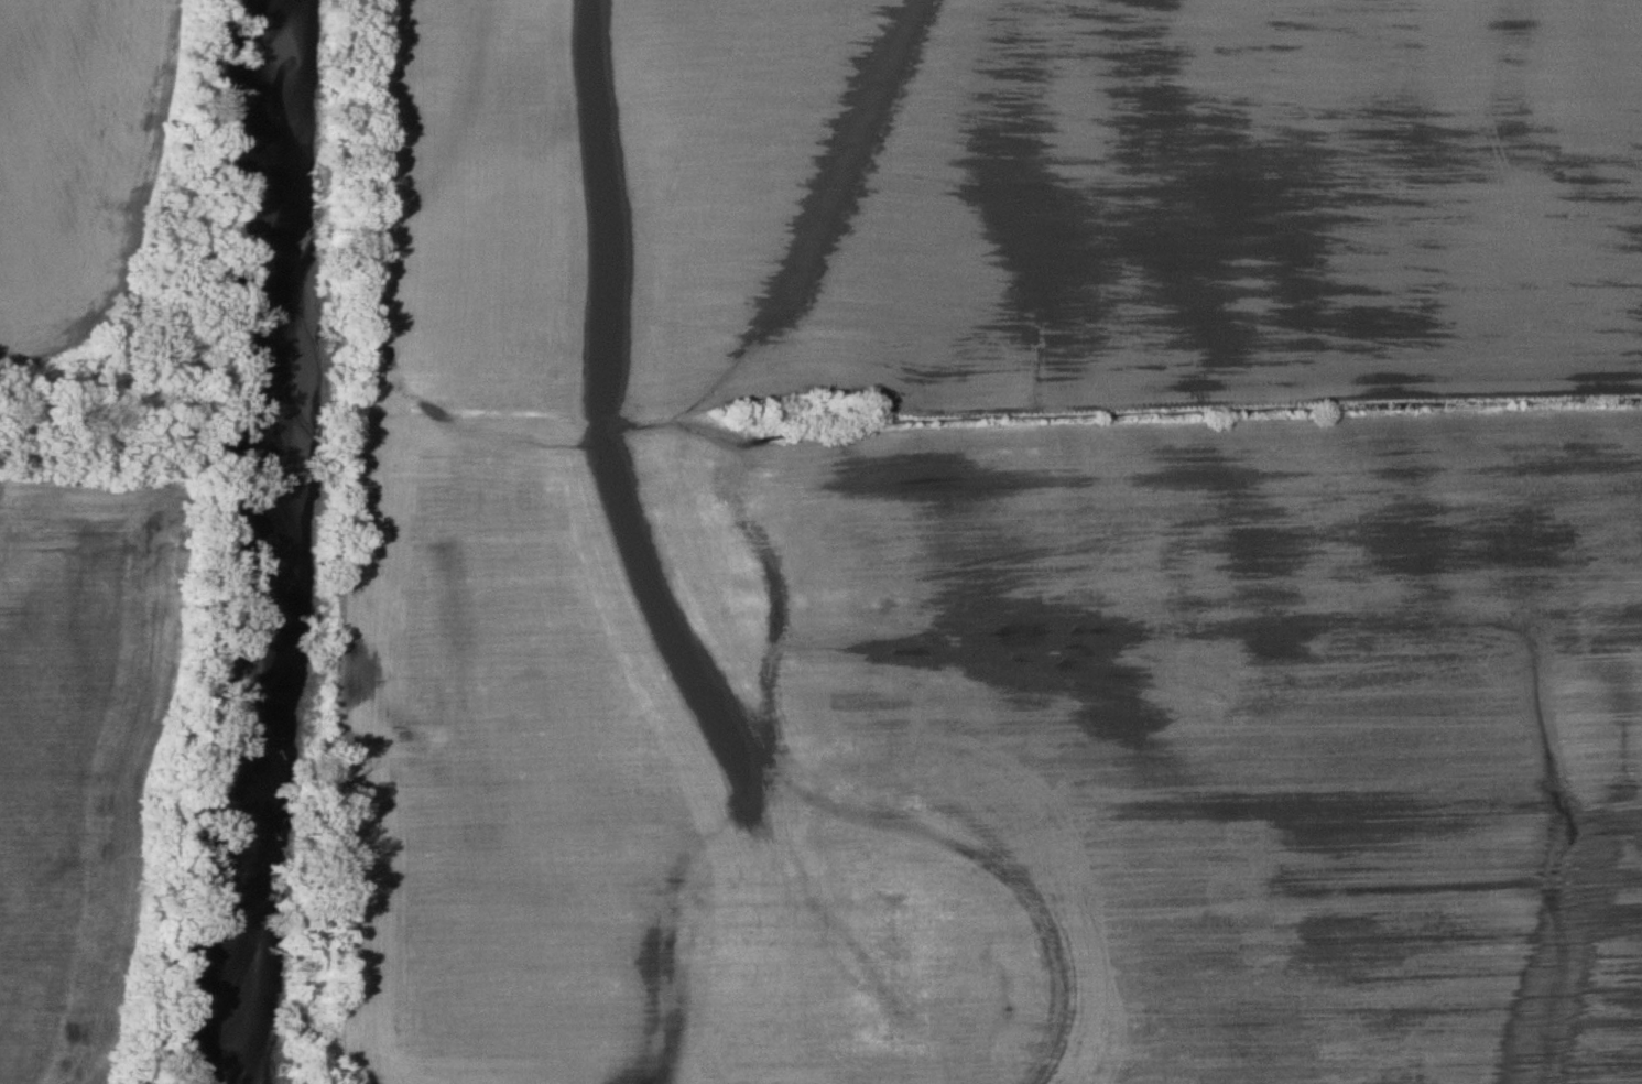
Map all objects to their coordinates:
crop: (1005, 205)
crop: (80, 756)

